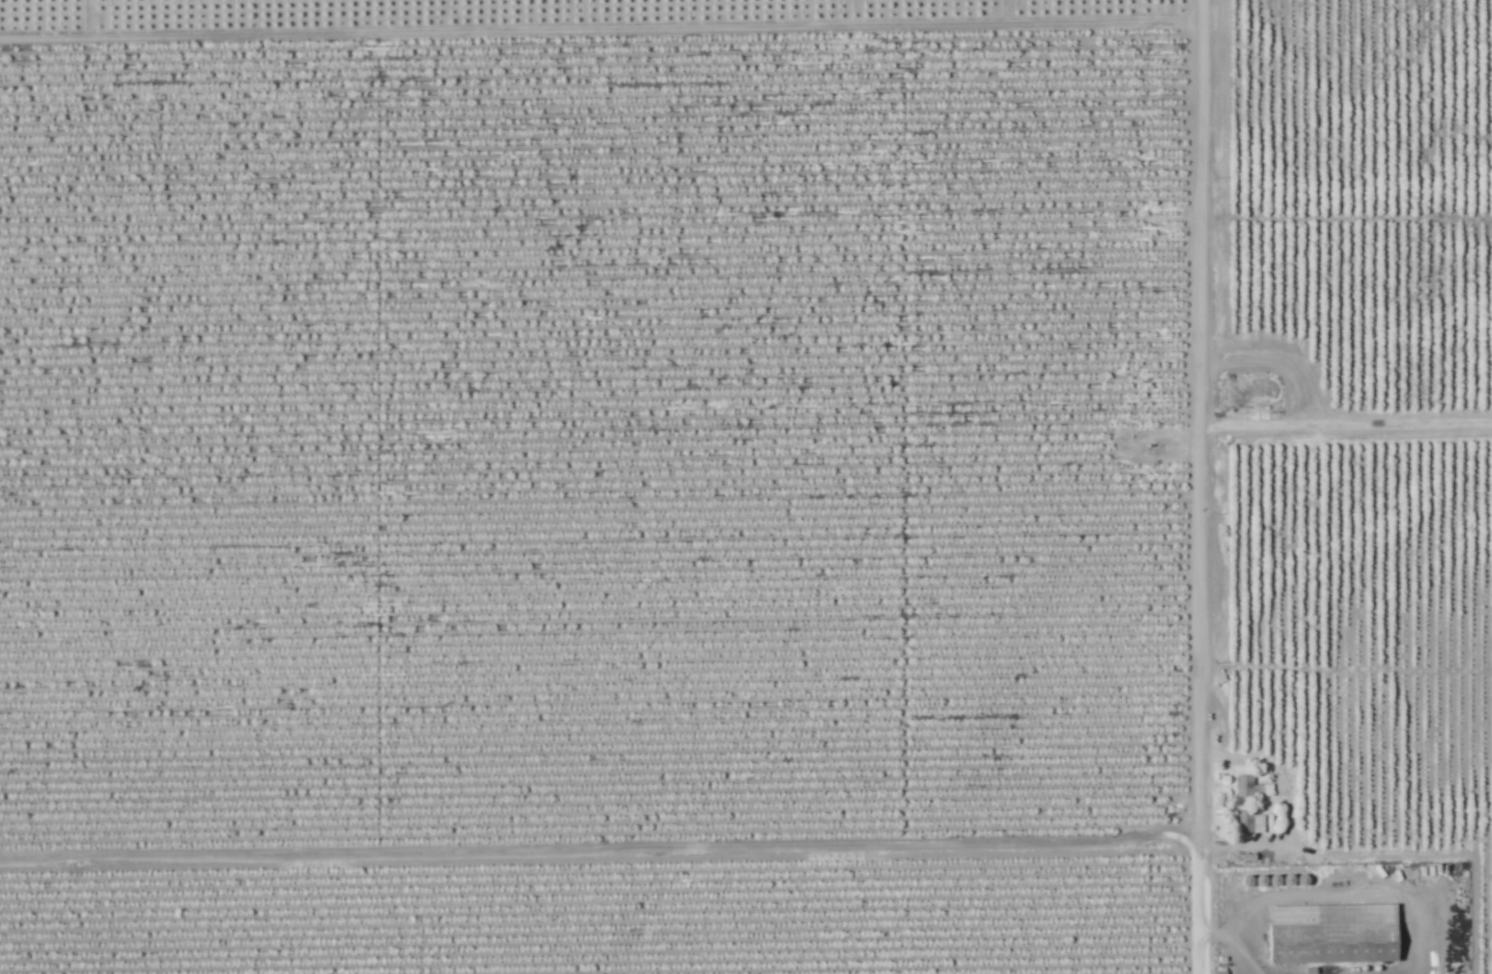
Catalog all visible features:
road: (1209, 487)
building: (1242, 787)
building: (1247, 823)
building: (1331, 934)
building: (1217, 973)

